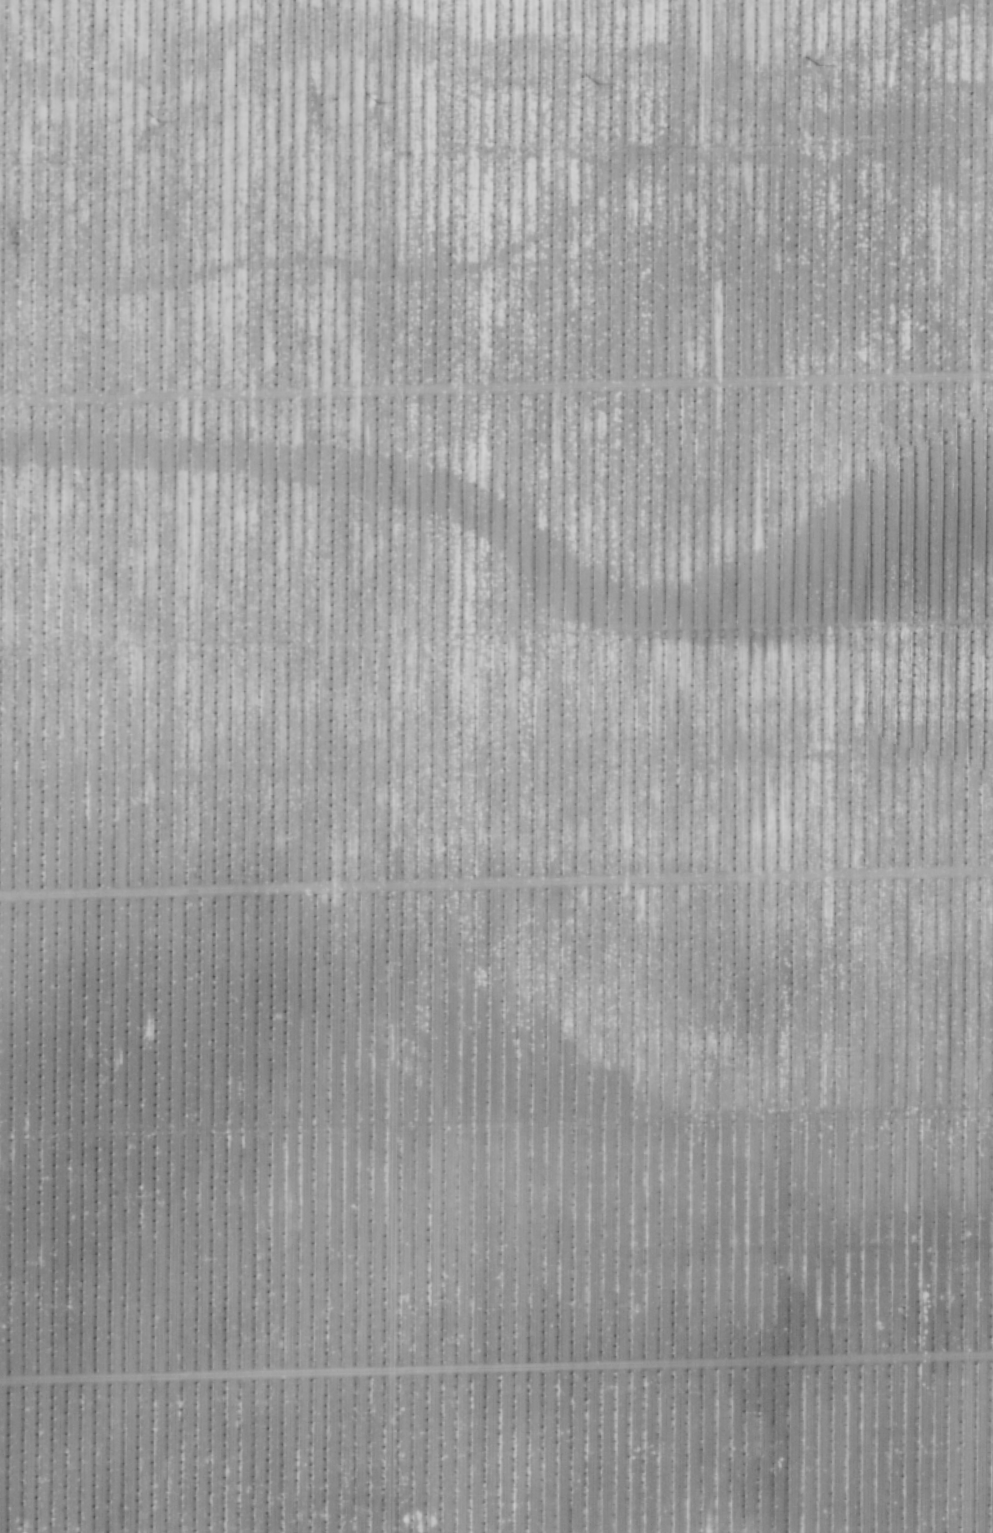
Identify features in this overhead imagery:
road: (973, 40)
road: (165, 766)
road: (483, 766)
crop: (496, 766)

